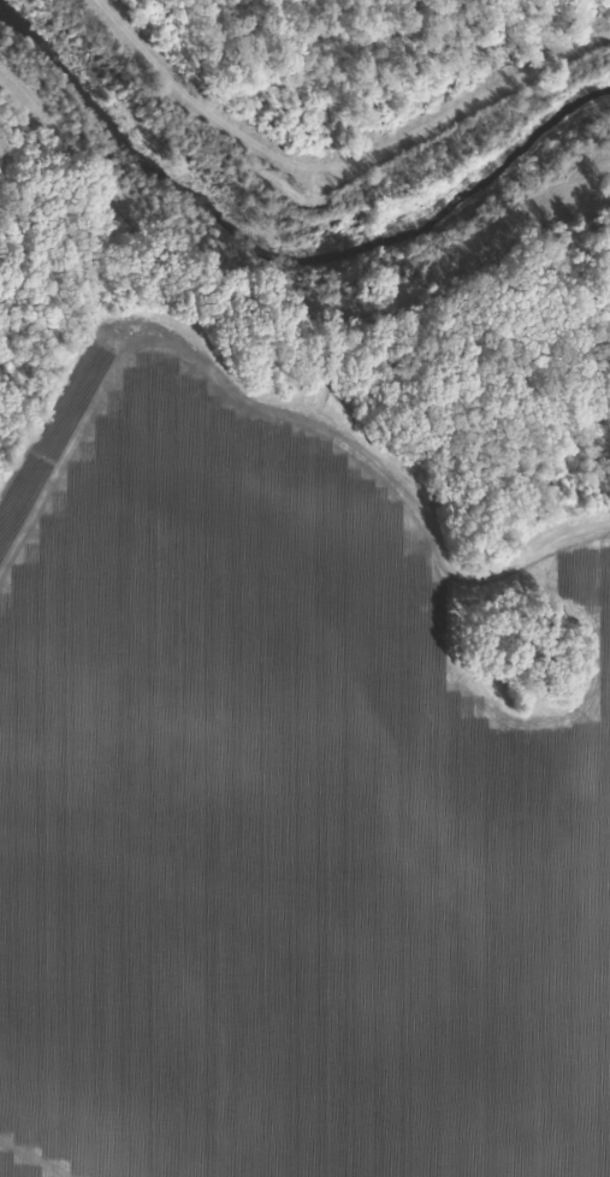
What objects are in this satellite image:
road: (244, 19)
river: (297, 232)

